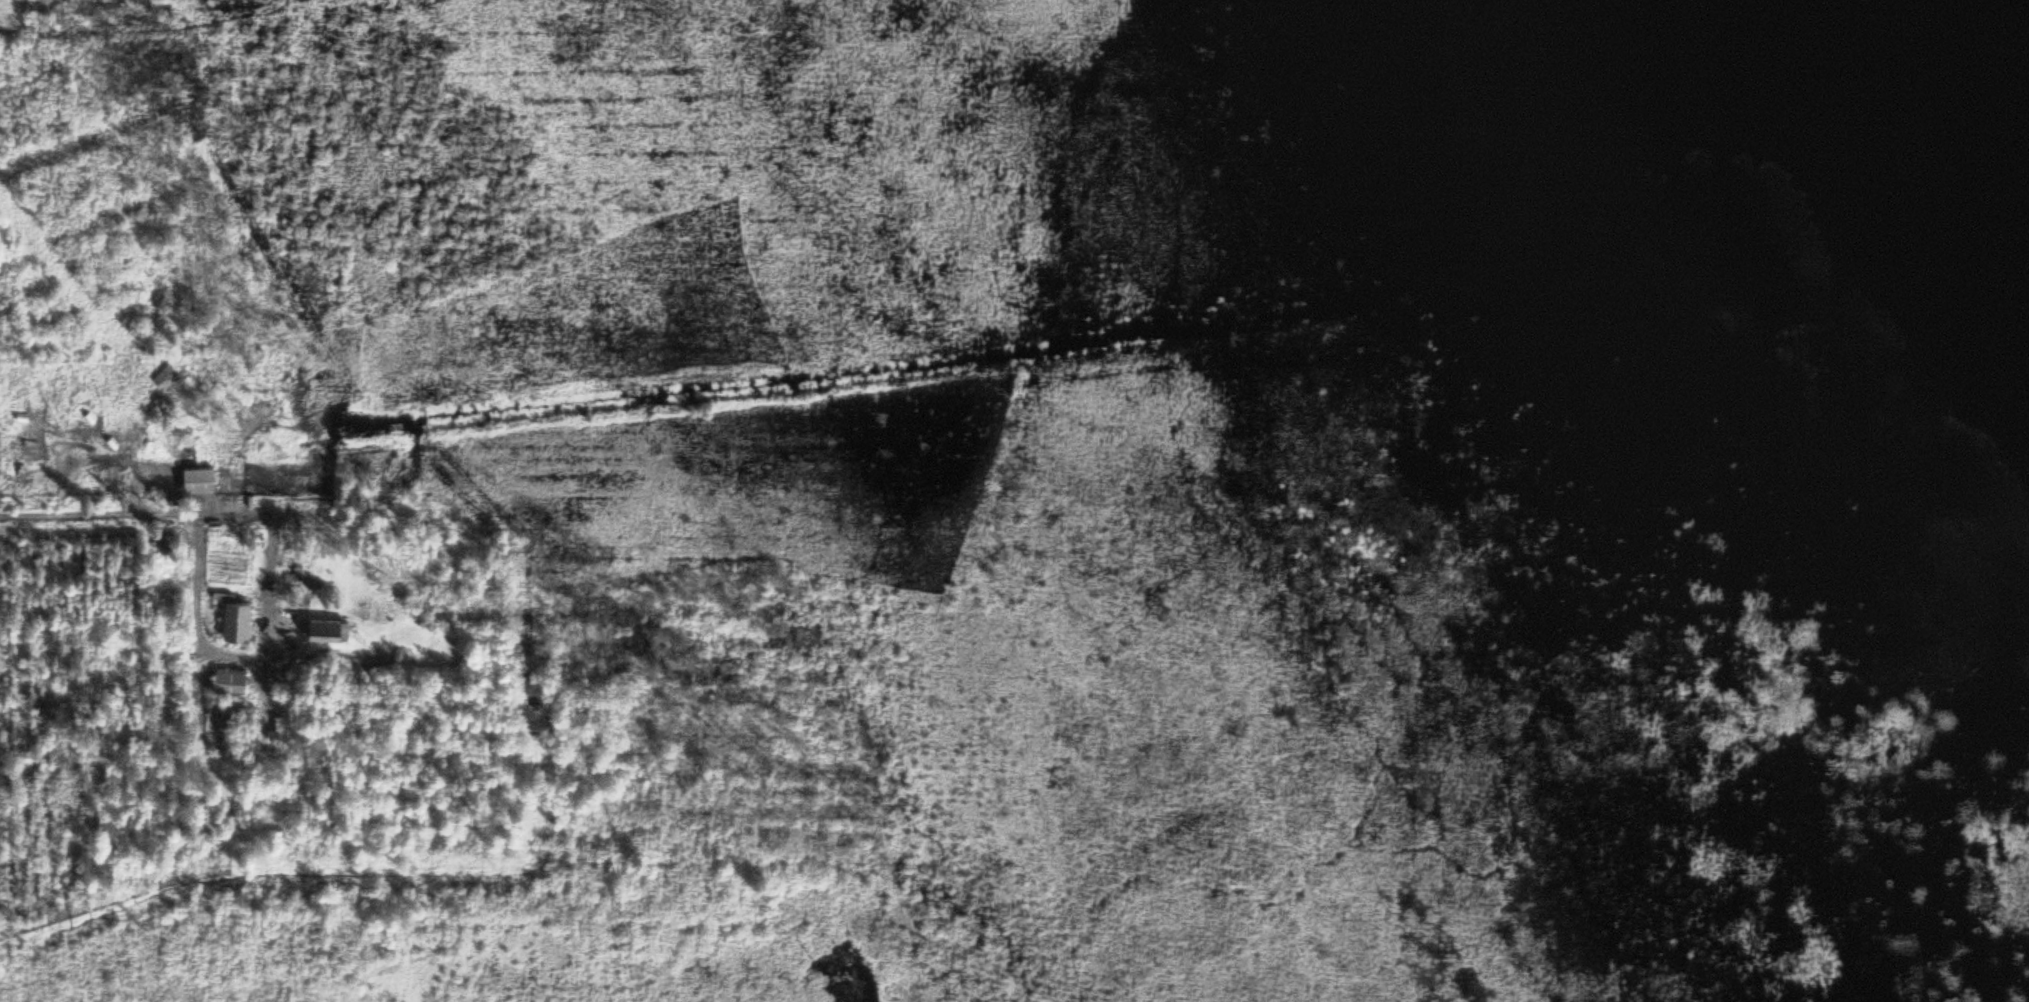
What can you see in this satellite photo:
building: (165, 371)
building: (202, 476)
road: (205, 527)
building: (240, 617)
building: (329, 626)
building: (233, 679)

